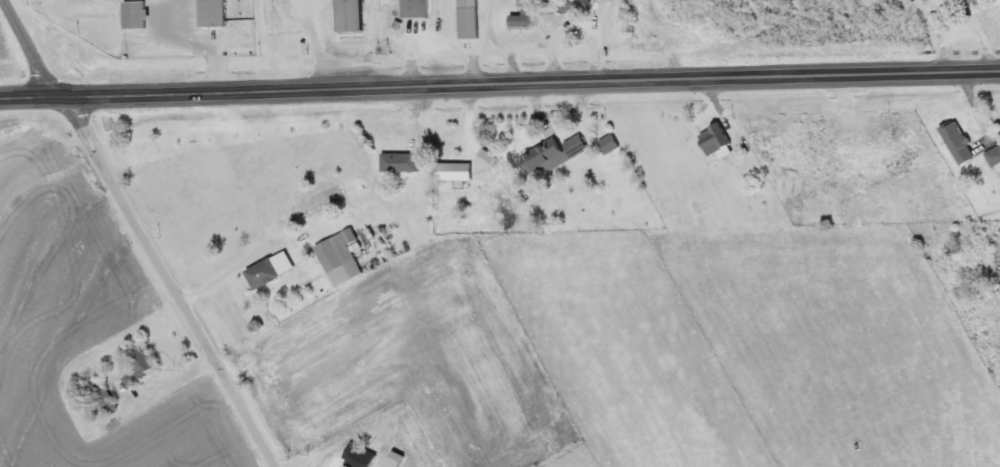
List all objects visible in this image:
building: (964, 3)
building: (576, 7)
building: (416, 8)
building: (211, 13)
building: (523, 13)
building: (134, 14)
building: (351, 15)
building: (468, 18)
road: (500, 82)
building: (716, 141)
building: (958, 142)
building: (553, 153)
building: (994, 156)
building: (485, 158)
building: (400, 162)
building: (454, 170)
road: (141, 233)
building: (340, 257)
building: (270, 270)
building: (141, 366)
building: (102, 393)
building: (359, 456)

